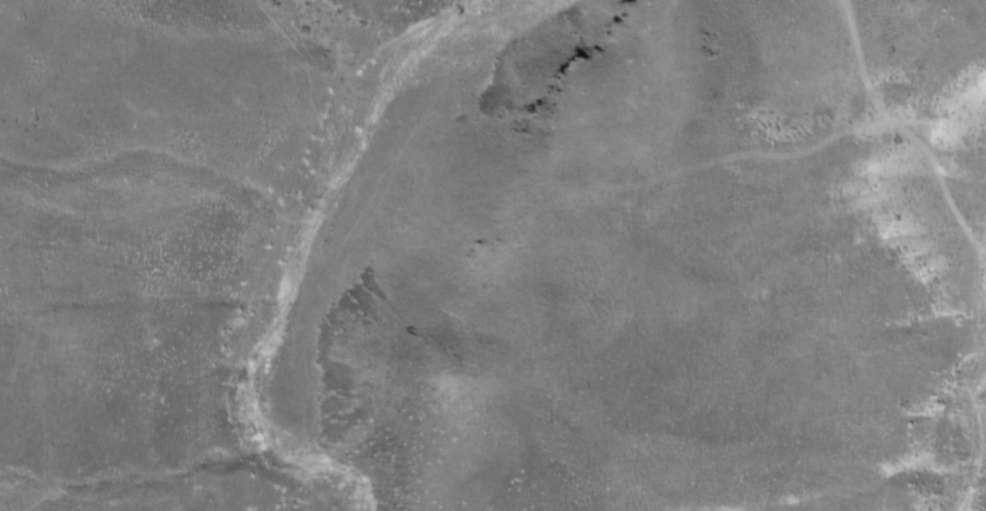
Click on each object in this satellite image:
road: (904, 130)

